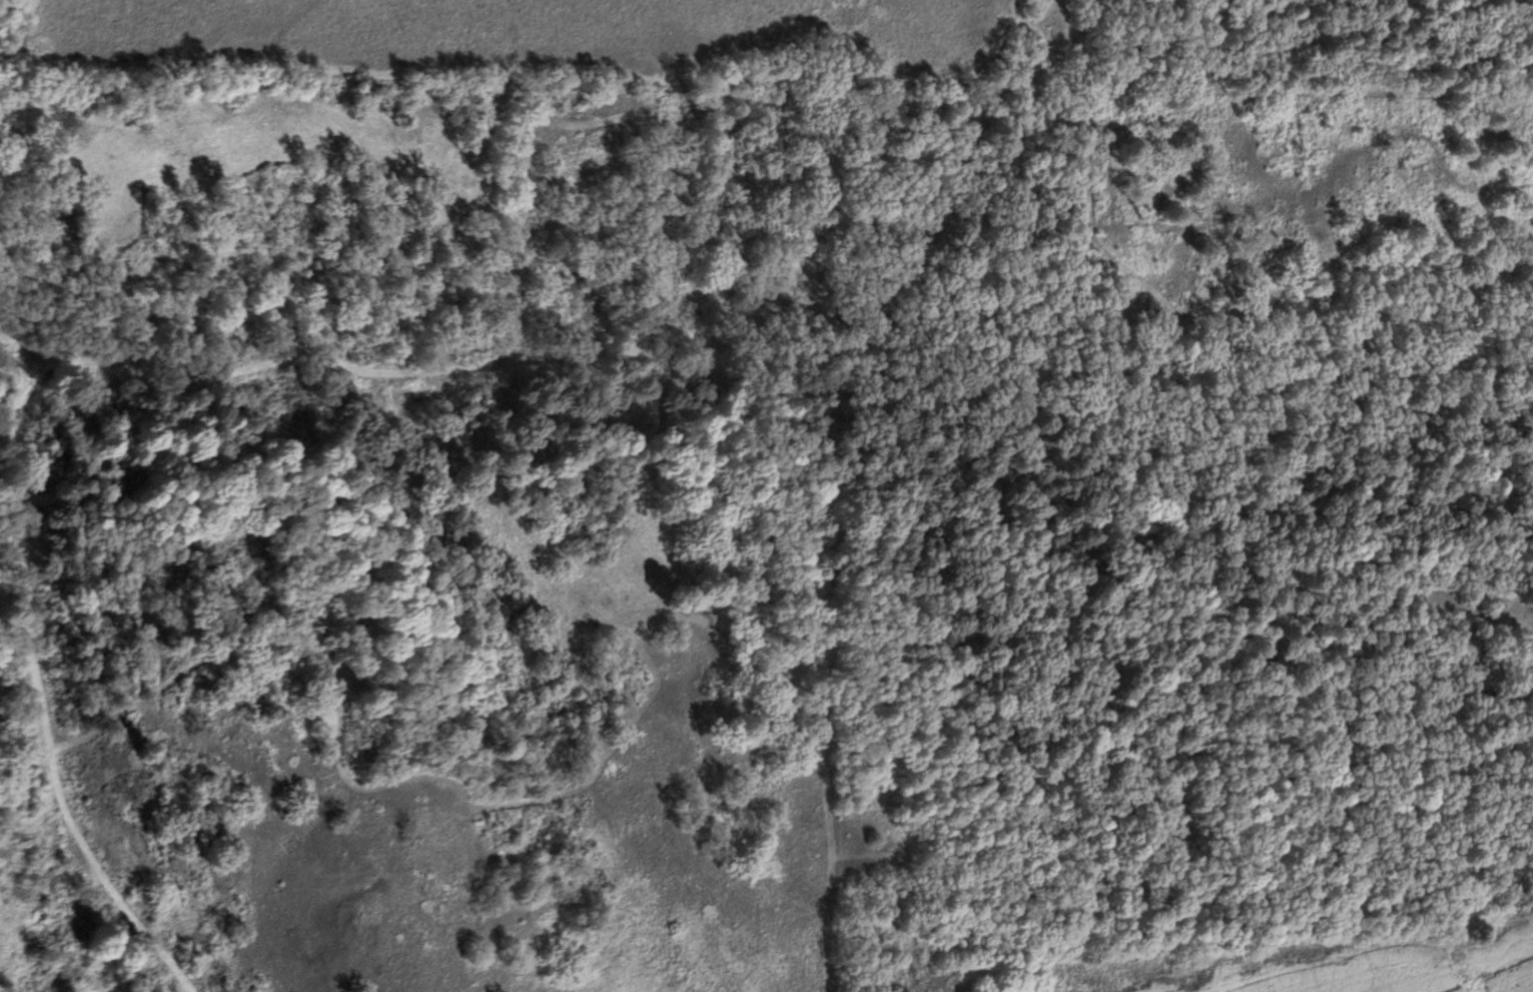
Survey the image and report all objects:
road: (1454, 51)
building: (1490, 695)

